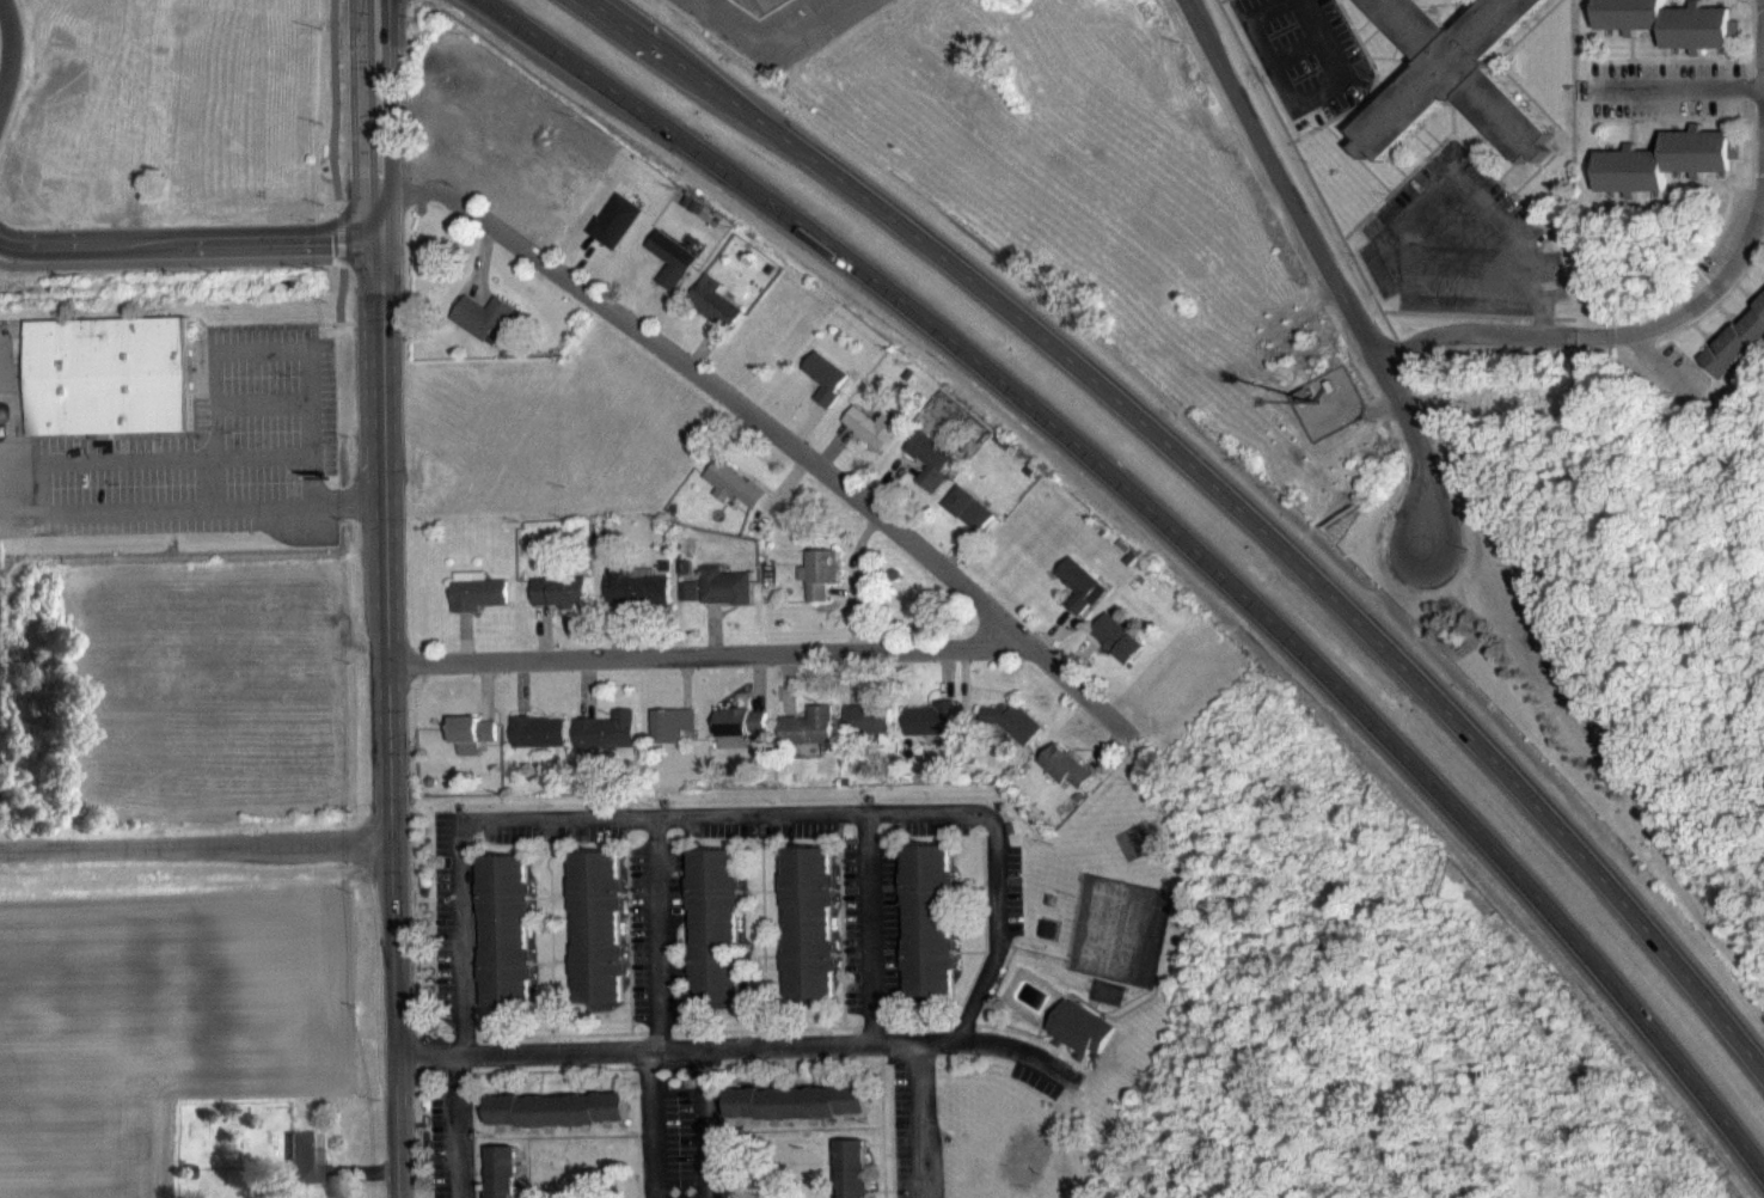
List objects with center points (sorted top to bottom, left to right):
road: (1763, 2)
building: (1665, 32)
road: (14, 56)
building: (1453, 82)
road: (1689, 90)
road: (1296, 103)
road: (335, 104)
road: (376, 120)
building: (1665, 175)
road: (339, 232)
building: (615, 234)
road: (188, 243)
road: (1517, 246)
road: (339, 259)
road: (1330, 261)
road: (179, 262)
road: (8, 267)
building: (670, 273)
road: (339, 292)
building: (713, 316)
road: (1619, 328)
building: (484, 330)
road: (1060, 348)
road: (258, 349)
building: (1737, 355)
road: (986, 367)
building: (109, 389)
building: (825, 390)
road: (261, 401)
road: (771, 429)
building: (871, 440)
building: (930, 473)
road: (209, 477)
road: (11, 497)
building: (733, 497)
road: (5, 509)
building: (968, 521)
building: (819, 586)
building: (723, 599)
building: (1079, 599)
building: (636, 601)
building: (559, 604)
building: (687, 604)
building: (476, 605)
building: (1117, 652)
road: (710, 655)
road: (388, 717)
building: (868, 732)
building: (929, 732)
building: (673, 739)
building: (737, 740)
building: (808, 740)
building: (539, 745)
building: (606, 745)
building: (471, 747)
building: (1065, 780)
road: (620, 819)
road: (196, 848)
road: (1631, 901)
road: (872, 929)
building: (929, 934)
road: (661, 935)
building: (809, 936)
building: (716, 939)
building: (599, 941)
building: (1048, 942)
road: (1002, 943)
building: (507, 945)
road: (1609, 976)
building: (1078, 1043)
road: (741, 1047)
building: (798, 1116)
road: (917, 1120)
building: (558, 1123)
road: (706, 1123)
road: (653, 1124)
road: (463, 1127)
building: (299, 1173)
building: (853, 1175)
building: (503, 1179)

